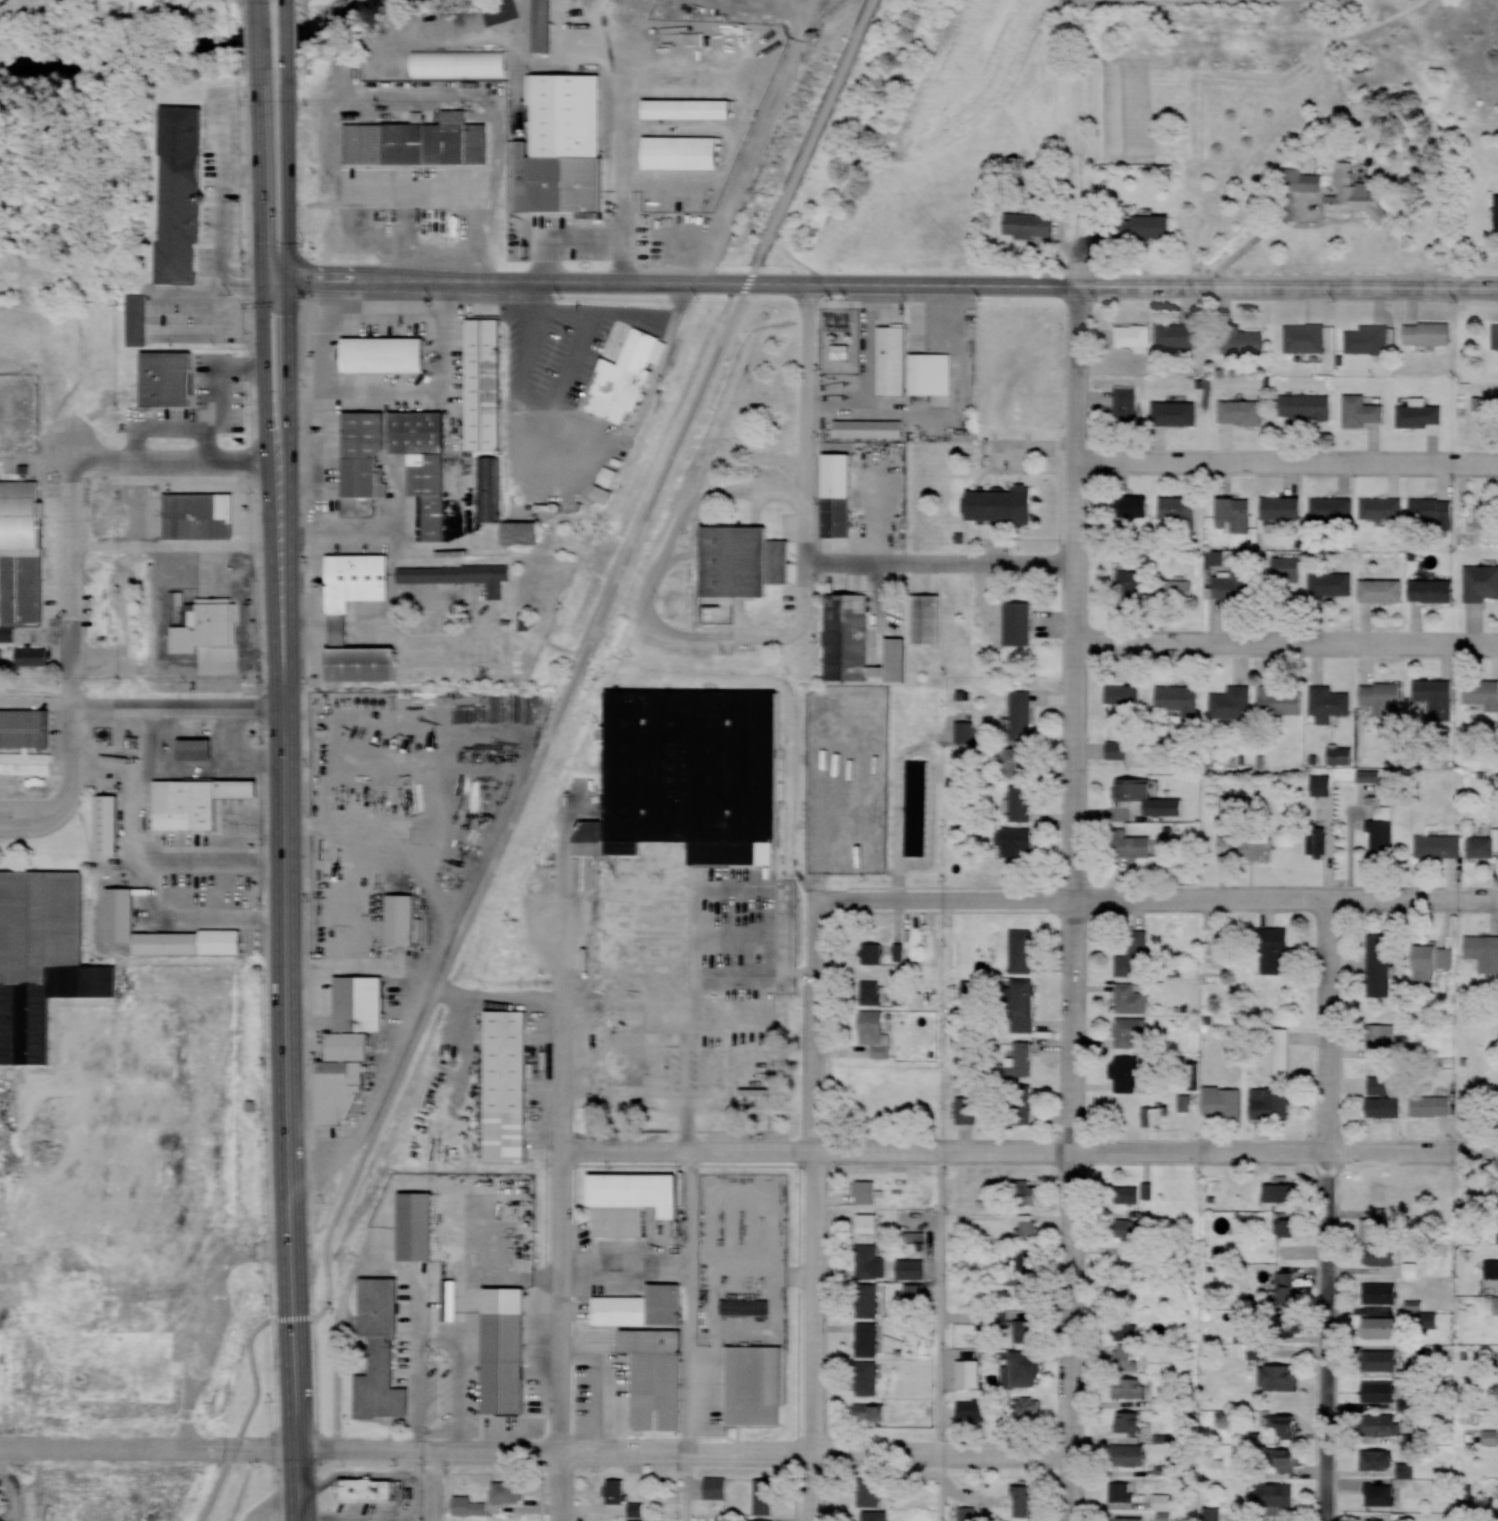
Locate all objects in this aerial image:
road: (256, 0)
building: (476, 18)
building: (545, 23)
road: (258, 35)
road: (288, 35)
building: (459, 59)
building: (1363, 66)
building: (688, 106)
building: (567, 112)
road: (817, 128)
building: (418, 140)
building: (681, 150)
road: (261, 173)
road: (289, 173)
building: (1306, 179)
building: (1357, 194)
building: (185, 215)
building: (1031, 224)
building: (1148, 225)
road: (1264, 240)
traffic signals: (263, 277)
traffic signals: (289, 277)
road: (880, 285)
building: (139, 319)
building: (1430, 333)
building: (1136, 335)
building: (1181, 335)
building: (1496, 336)
building: (1306, 337)
power substation: (840, 339)
building: (1369, 339)
building: (1242, 340)
building: (386, 352)
building: (892, 357)
road: (288, 370)
road: (265, 371)
building: (930, 371)
building: (170, 377)
building: (625, 377)
building: (486, 381)
road: (646, 406)
building: (1128, 406)
building: (1308, 406)
building: (1364, 411)
building: (1175, 413)
building: (1243, 413)
building: (1422, 414)
road: (809, 424)
building: (869, 426)
building: (419, 428)
building: (356, 462)
road: (1290, 464)
building: (429, 470)
building: (491, 489)
building: (837, 492)
building: (1003, 505)
building: (1137, 507)
building: (1284, 508)
building: (1382, 508)
building: (1180, 509)
building: (1332, 509)
building: (1433, 511)
building: (20, 512)
building: (201, 515)
building: (1235, 515)
building: (523, 532)
road: (944, 564)
building: (741, 565)
building: (1287, 569)
building: (360, 573)
road: (72, 574)
building: (461, 575)
building: (1482, 583)
building: (1238, 584)
building: (1333, 584)
building: (1135, 585)
building: (1383, 587)
building: (1177, 590)
building: (1434, 590)
building: (927, 614)
building: (205, 622)
building: (1021, 623)
building: (848, 633)
road: (1289, 643)
building: (365, 662)
building: (1483, 692)
building: (1125, 693)
building: (1385, 697)
building: (1436, 697)
building: (1181, 699)
building: (1282, 699)
building: (1234, 702)
building: (1331, 703)
road: (179, 706)
building: (1024, 714)
building: (24, 724)
building: (198, 748)
building: (1119, 749)
building: (27, 759)
building: (1021, 761)
building: (693, 762)
building: (1324, 785)
building: (1138, 788)
building: (188, 801)
building: (1023, 802)
building: (1236, 805)
building: (919, 807)
building: (1151, 811)
building: (108, 823)
building: (1383, 833)
building: (1319, 840)
building: (1018, 841)
building: (1132, 844)
building: (1440, 845)
building: (1484, 846)
building: (1248, 847)
road: (1075, 903)
road: (1157, 904)
road: (475, 909)
building: (121, 912)
building: (403, 916)
building: (169, 940)
building: (1482, 947)
building: (1278, 950)
building: (1022, 951)
building: (874, 953)
building: (1136, 955)
building: (1432, 962)
building: (1380, 965)
building: (971, 988)
road: (289, 992)
building: (872, 992)
building: (900, 995)
building: (1132, 997)
building: (361, 1001)
building: (1023, 1004)
building: (874, 1027)
building: (1132, 1032)
building: (623, 1036)
building: (1382, 1037)
building: (350, 1044)
building: (1280, 1051)
building: (1021, 1060)
building: (1129, 1073)
building: (507, 1082)
building: (1224, 1100)
building: (1272, 1102)
building: (1022, 1104)
building: (1433, 1105)
building: (1386, 1106)
building: (968, 1109)
building: (1156, 1115)
road: (1031, 1156)
building: (1286, 1189)
building: (868, 1192)
building: (1029, 1192)
building: (1134, 1193)
road: (563, 1196)
road: (814, 1210)
road: (1333, 1212)
building: (622, 1219)
building: (869, 1221)
building: (417, 1222)
building: (1286, 1224)
building: (1130, 1225)
building: (1378, 1225)
building: (1030, 1226)
building: (1385, 1256)
building: (1028, 1258)
building: (869, 1260)
building: (914, 1268)
building: (1413, 1270)
building: (1288, 1288)
building: (1029, 1292)
building: (916, 1293)
building: (1382, 1293)
building: (449, 1298)
building: (869, 1299)
building: (82, 1301)
building: (664, 1301)
building: (1415, 1305)
building: (747, 1306)
building: (1497, 1306)
building: (623, 1309)
building: (995, 1319)
building: (1382, 1326)
building: (1130, 1329)
building: (1027, 1330)
building: (869, 1339)
building: (383, 1352)
building: (1128, 1358)
building: (506, 1359)
building: (1381, 1359)
building: (126, 1364)
building: (1025, 1367)
building: (1280, 1376)
building: (658, 1377)
building: (869, 1377)
building: (755, 1383)
building: (1132, 1386)
building: (1384, 1391)
building: (974, 1409)
building: (1030, 1409)
building: (873, 1411)
building: (1130, 1422)
building: (1387, 1424)
building: (1291, 1426)
road: (535, 1453)
building: (1131, 1454)
building: (1286, 1459)
building: (1381, 1459)
building: (369, 1487)
building: (617, 1489)
building: (717, 1490)
building: (510, 1491)
building: (870, 1491)
building: (1125, 1491)
building: (1382, 1493)
building: (111, 1494)
building: (1277, 1494)
building: (765, 1496)
building: (1162, 1500)
building: (1025, 1501)
building: (471, 1506)
building: (971, 1513)
building: (1214, 1513)
building: (876, 1515)
building: (1400, 1516)
building: (1131, 1518)
building: (1166, 1518)
building: (762, 1520)
building: (1378, 1520)

